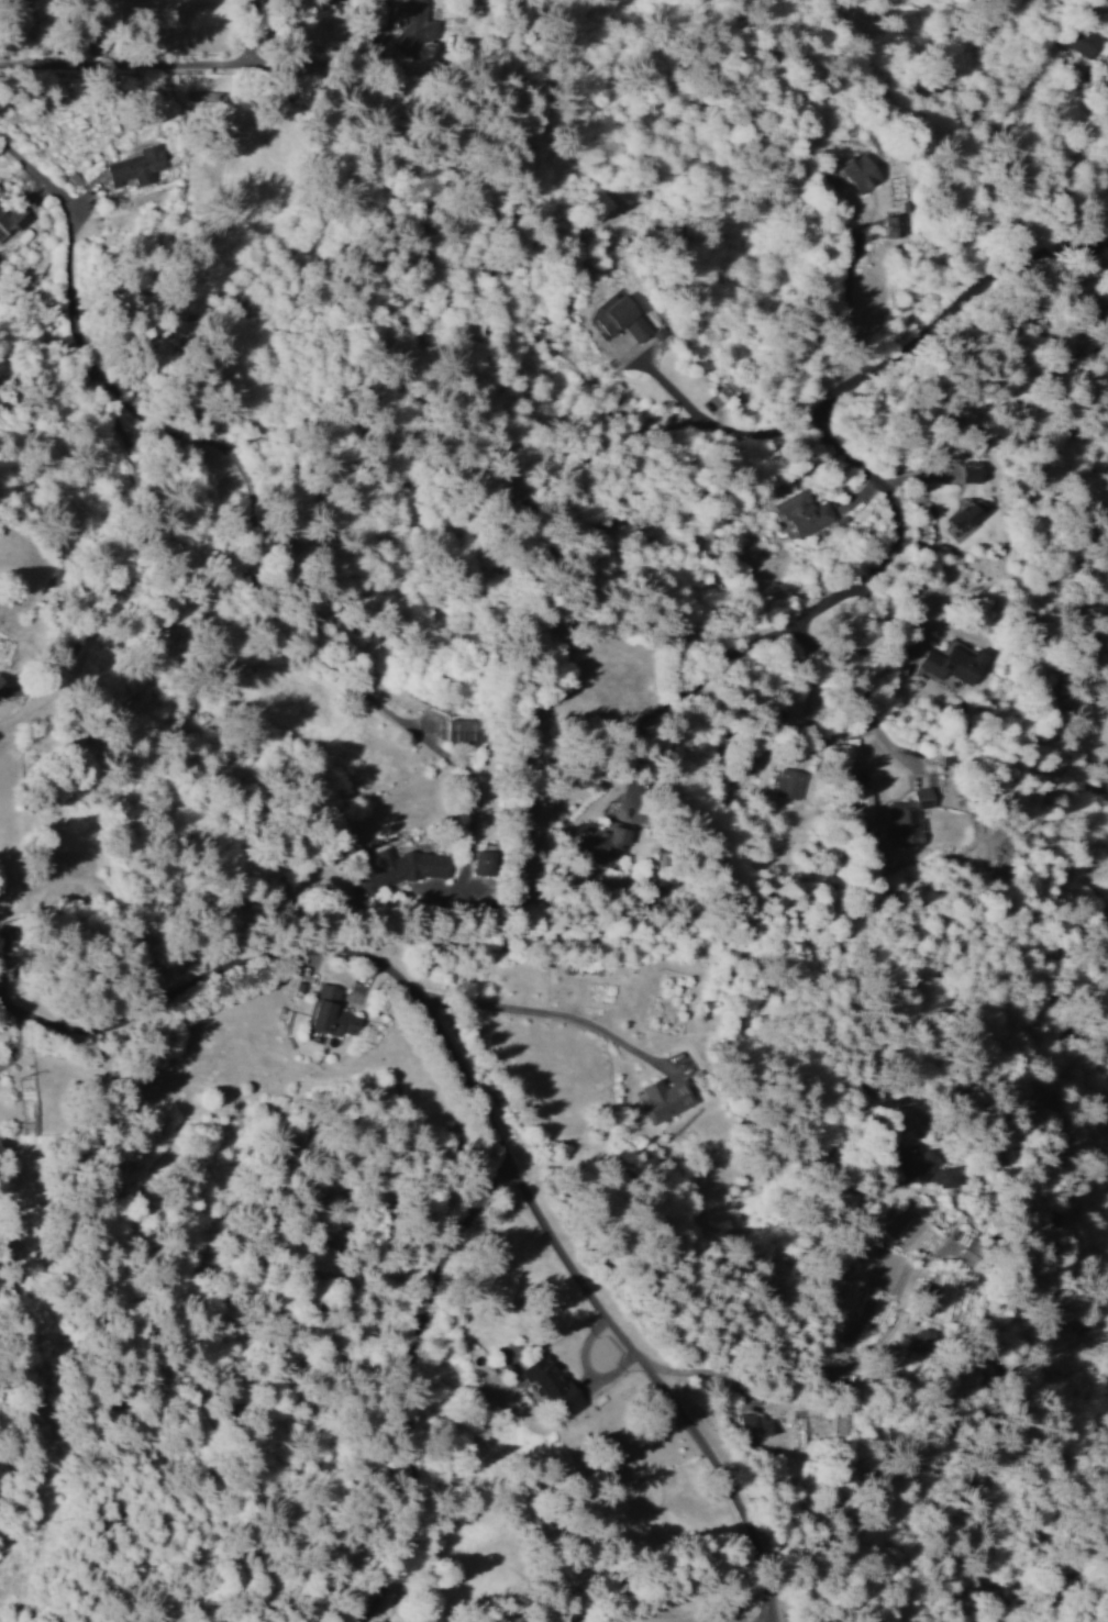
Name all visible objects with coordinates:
building: (424, 29)
building: (1083, 42)
road: (158, 62)
road: (323, 74)
road: (272, 125)
building: (137, 166)
building: (856, 171)
building: (11, 221)
building: (900, 224)
building: (624, 319)
building: (713, 403)
building: (973, 470)
building: (804, 512)
building: (967, 515)
building: (953, 660)
building: (464, 730)
building: (790, 784)
building: (862, 800)
building: (907, 818)
building: (611, 840)
building: (487, 857)
building: (408, 866)
building: (333, 1013)
building: (664, 1099)
road: (483, 1115)
building: (945, 1177)
building: (972, 1252)
building: (922, 1340)
building: (553, 1381)
building: (755, 1424)
building: (841, 1424)

